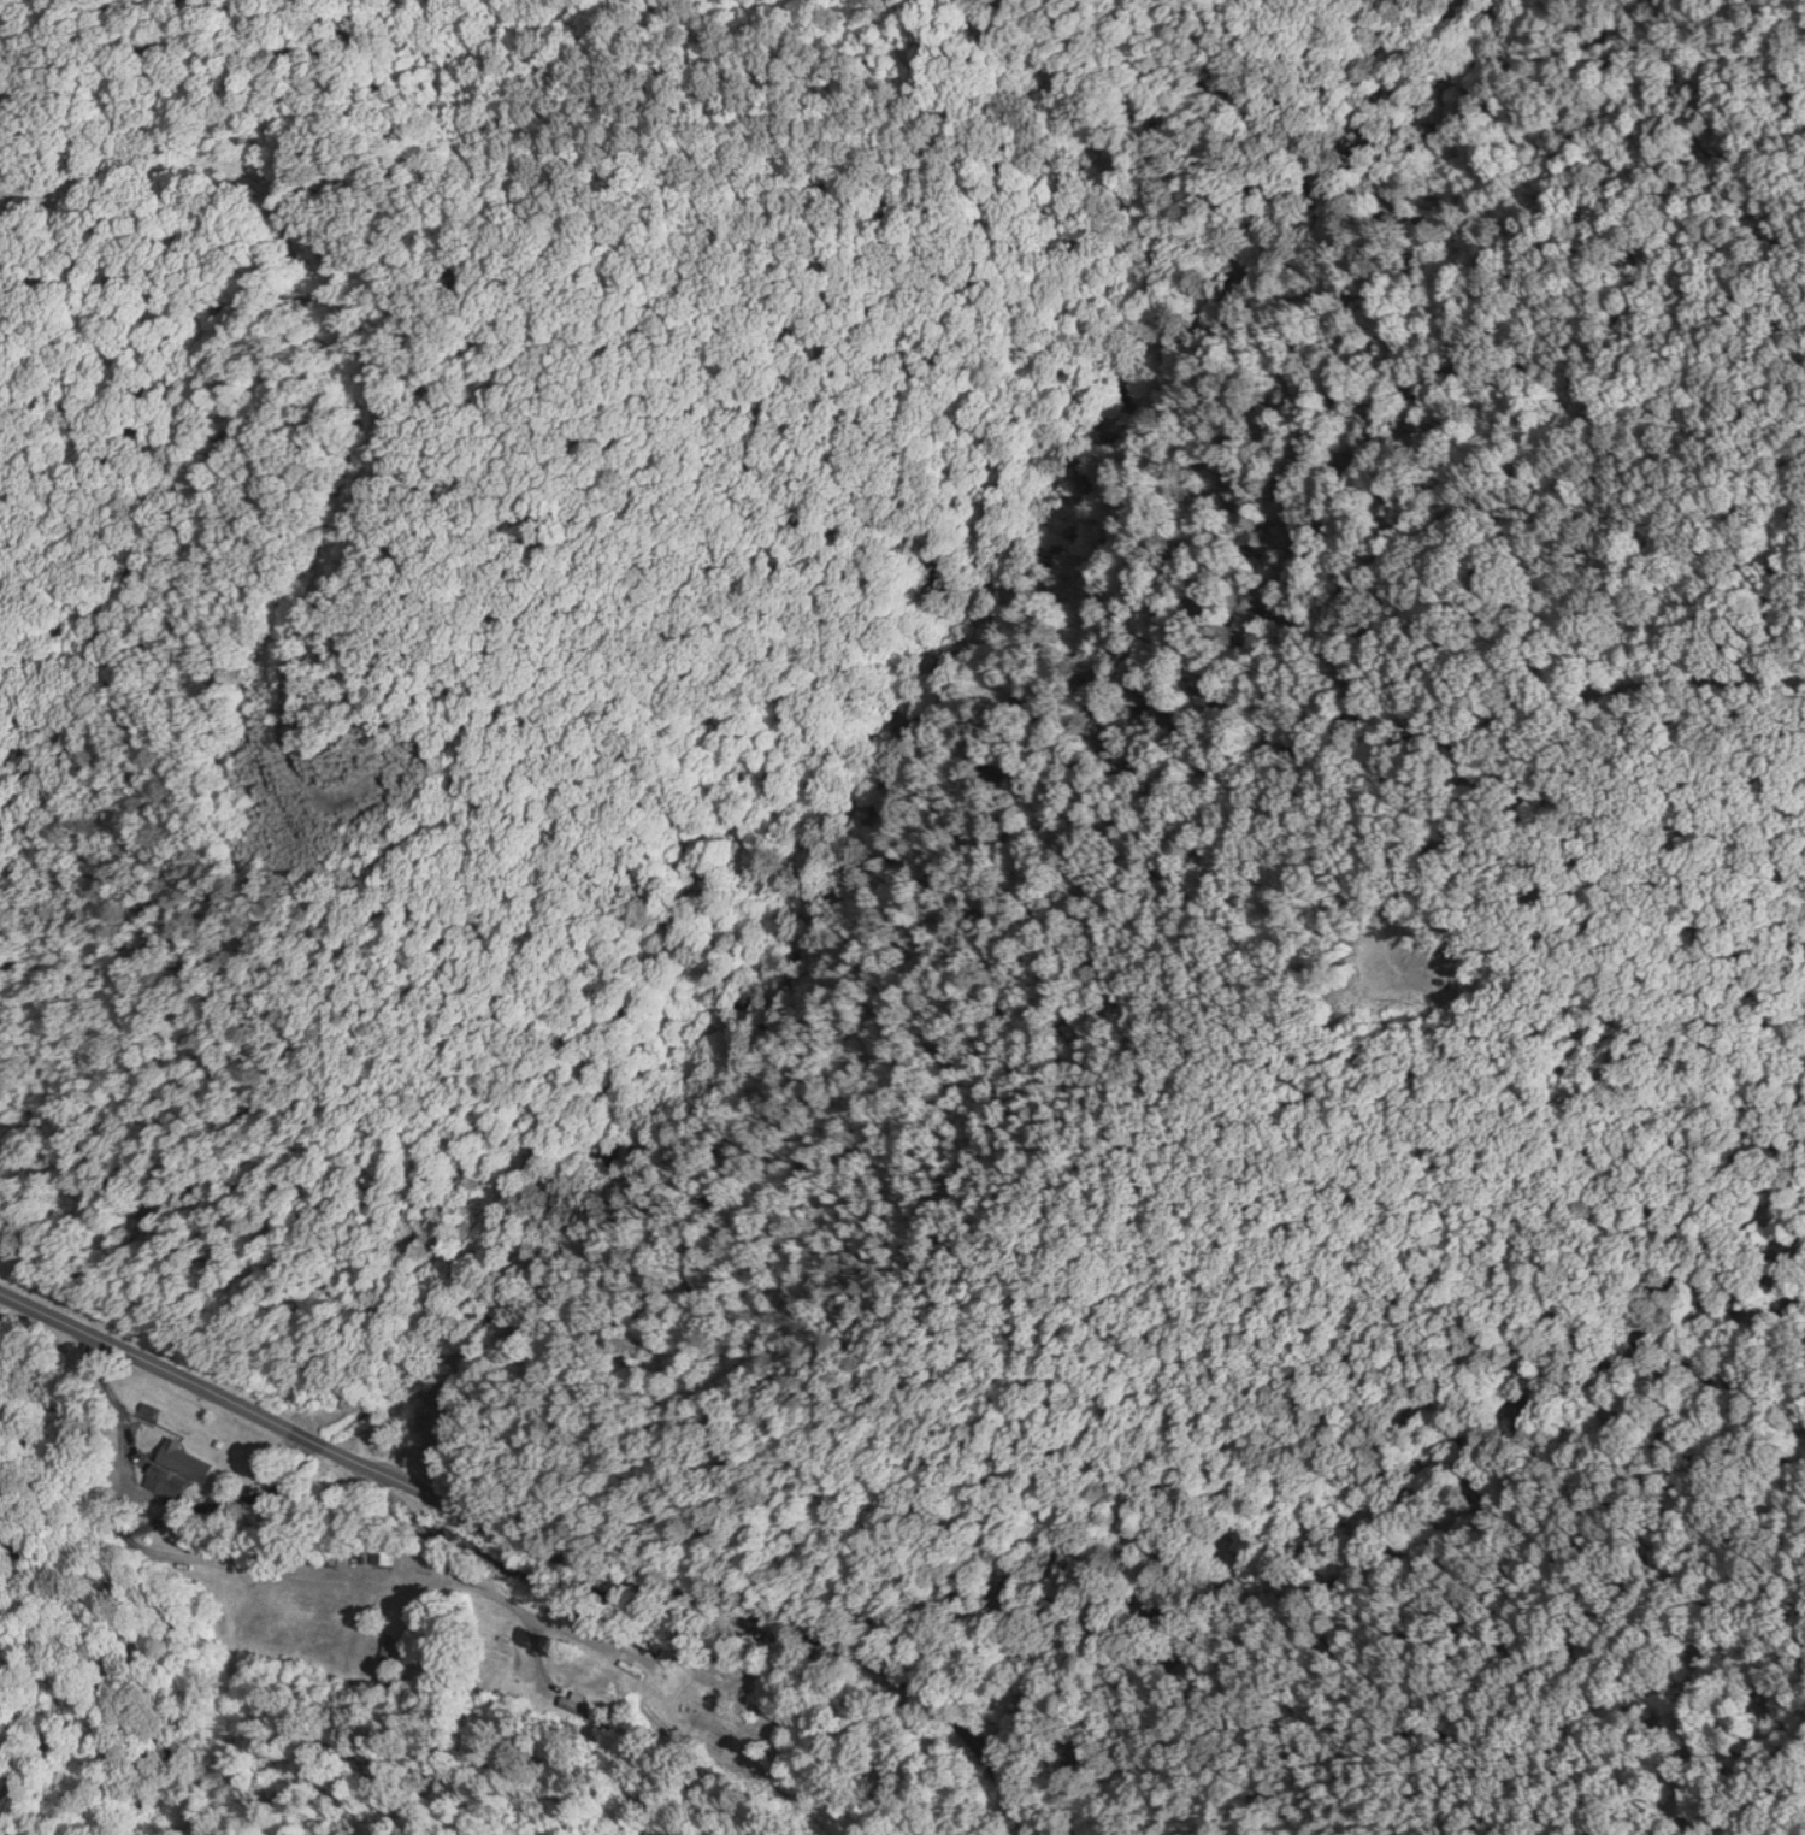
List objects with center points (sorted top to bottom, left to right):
building: (182, 1461)
building: (160, 1485)
road: (542, 1544)
road: (1398, 1551)
road: (77, 1662)

